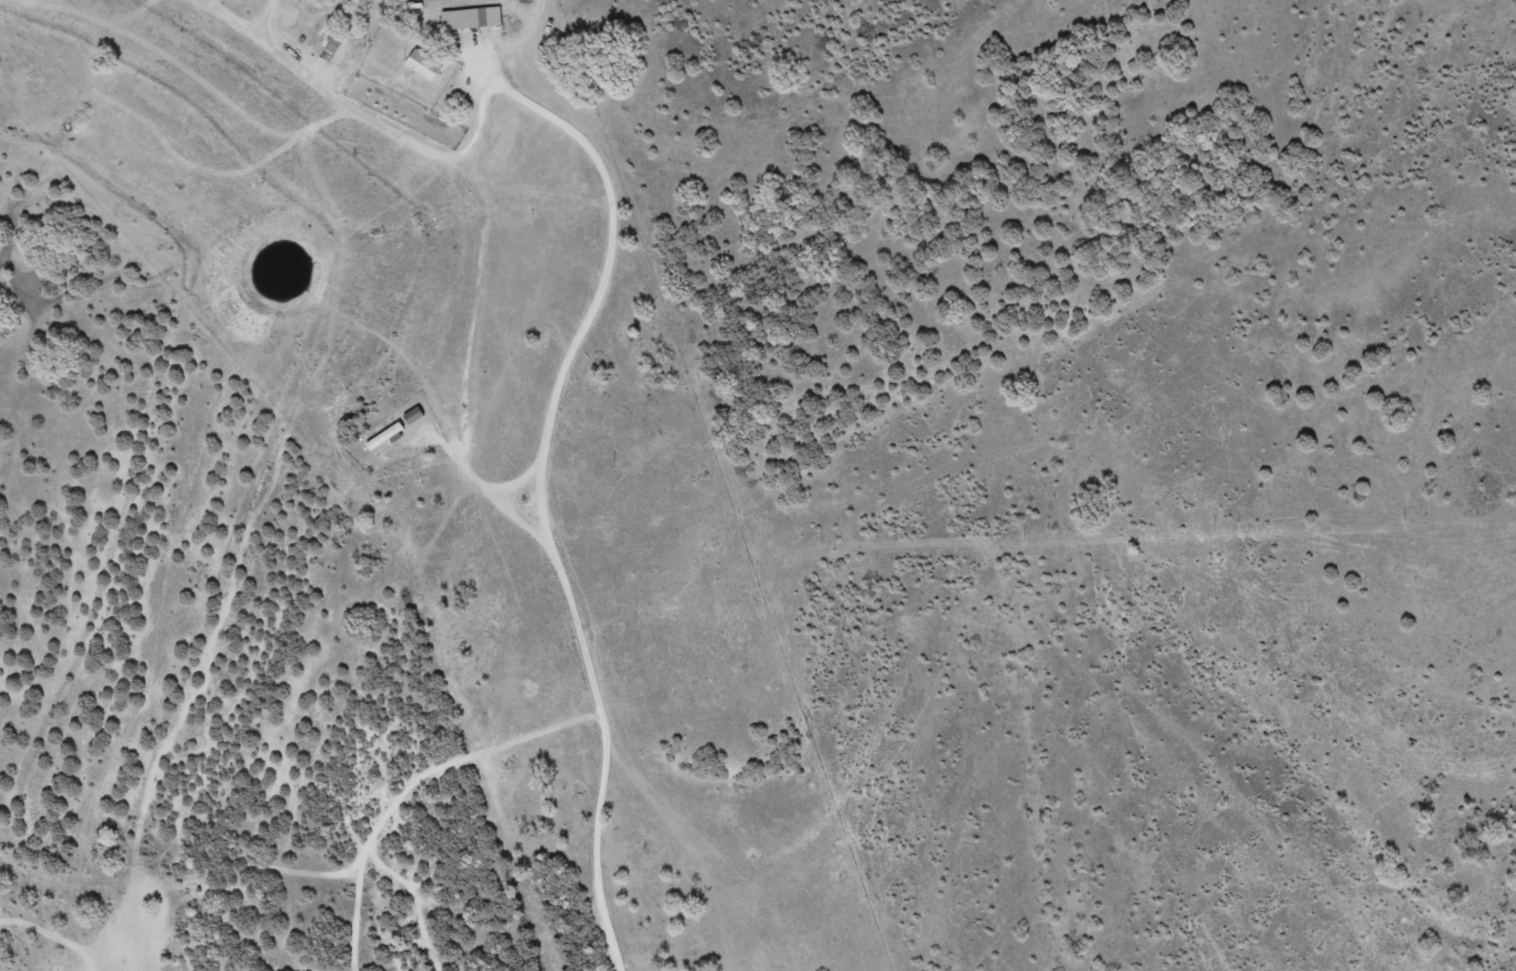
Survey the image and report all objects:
building: (461, 19)
building: (331, 43)
building: (420, 64)
road: (668, 446)

